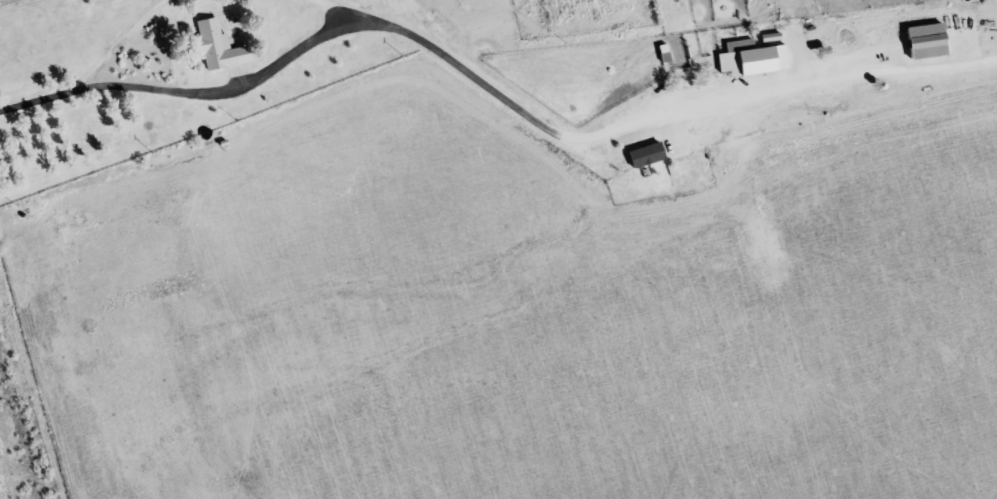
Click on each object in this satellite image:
building: (930, 40)
building: (222, 50)
building: (754, 60)
building: (647, 155)

